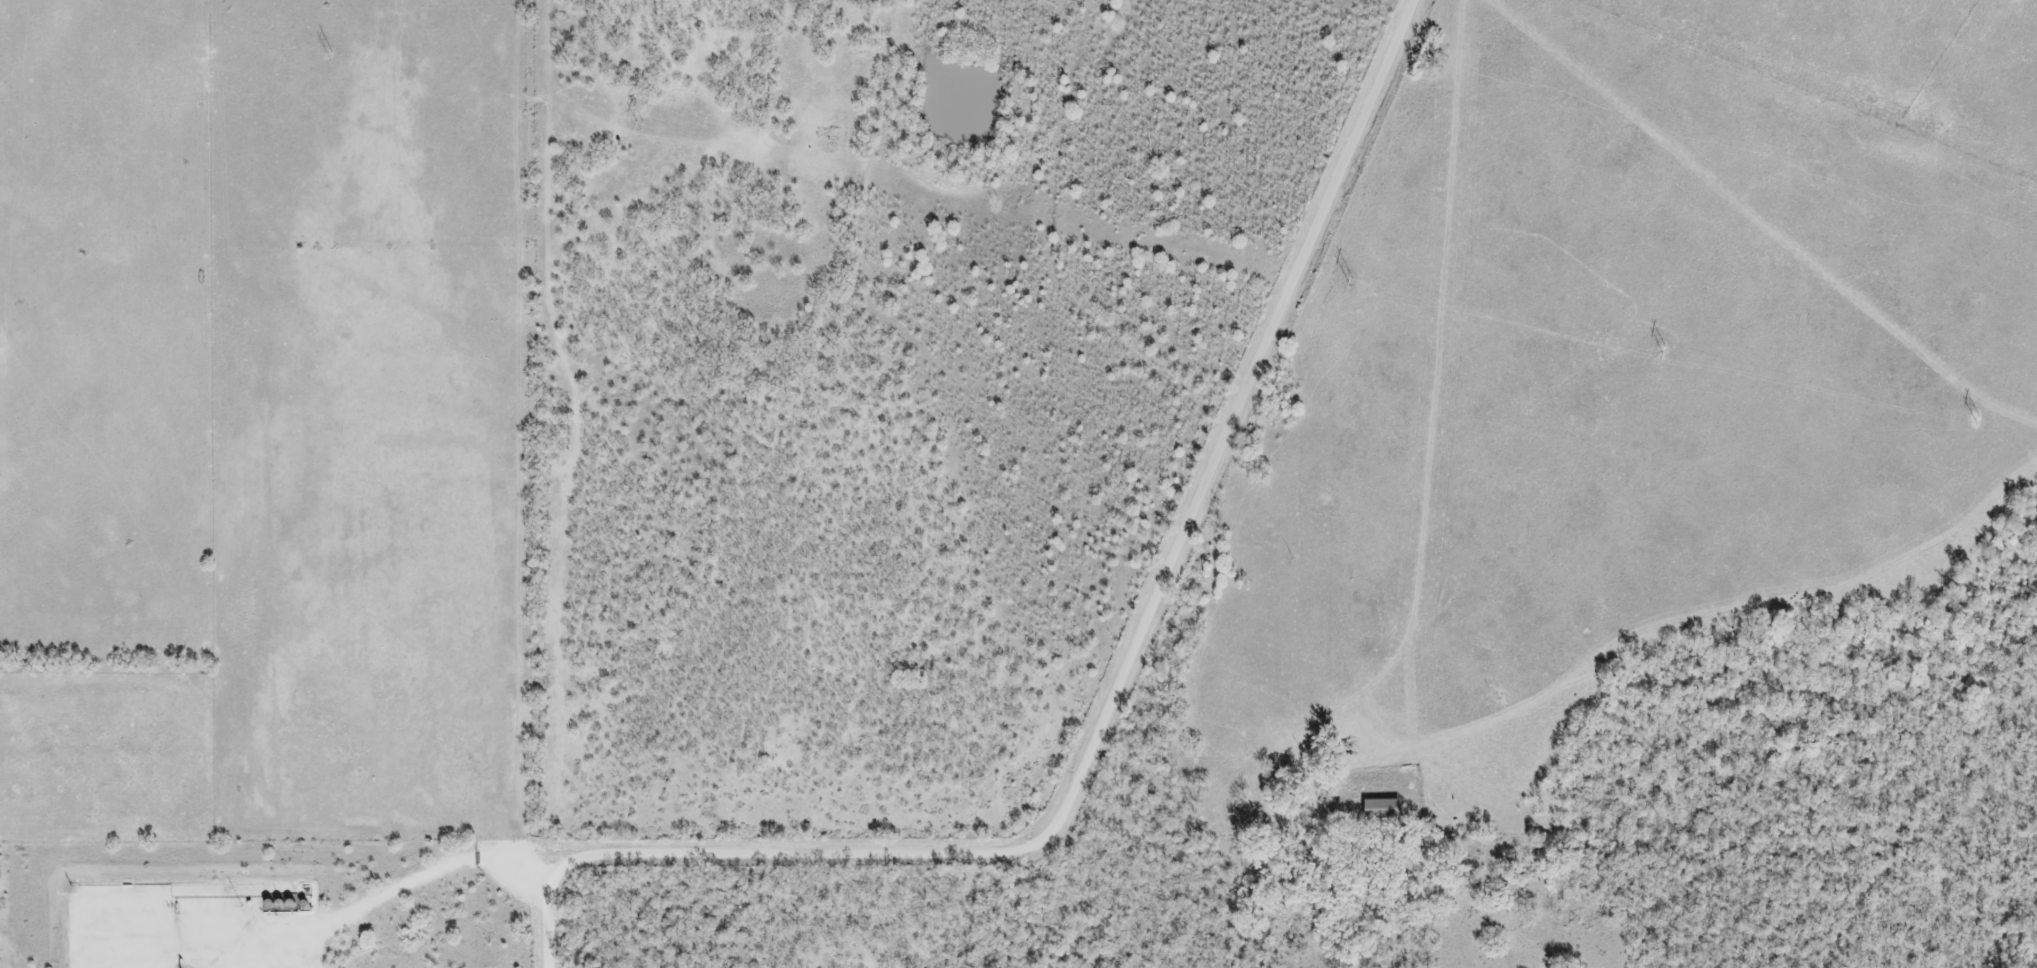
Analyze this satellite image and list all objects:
power tower: (331, 52)
power tower: (641, 120)
power tower: (995, 198)
power tower: (1349, 277)
power tower: (1663, 346)
power tower: (1975, 415)
road: (1120, 683)
building: (1378, 811)
road: (323, 921)

